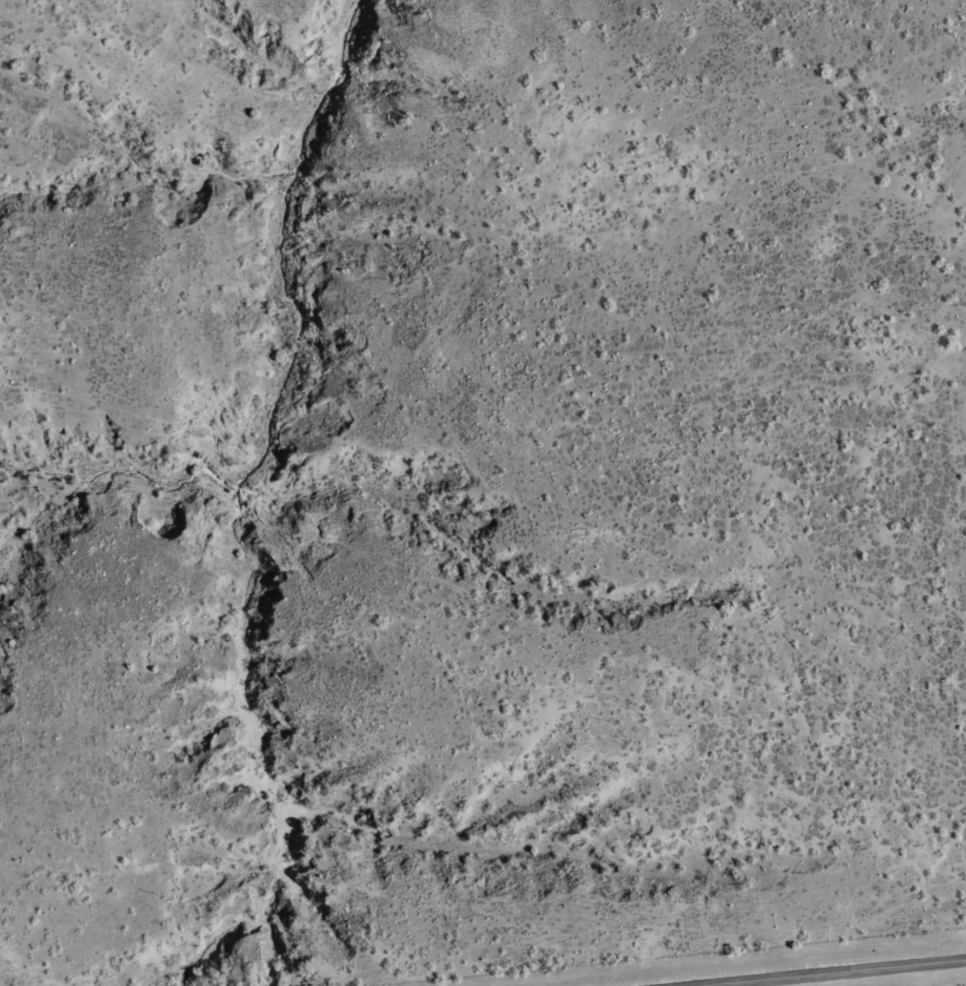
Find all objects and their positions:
road: (810, 971)

